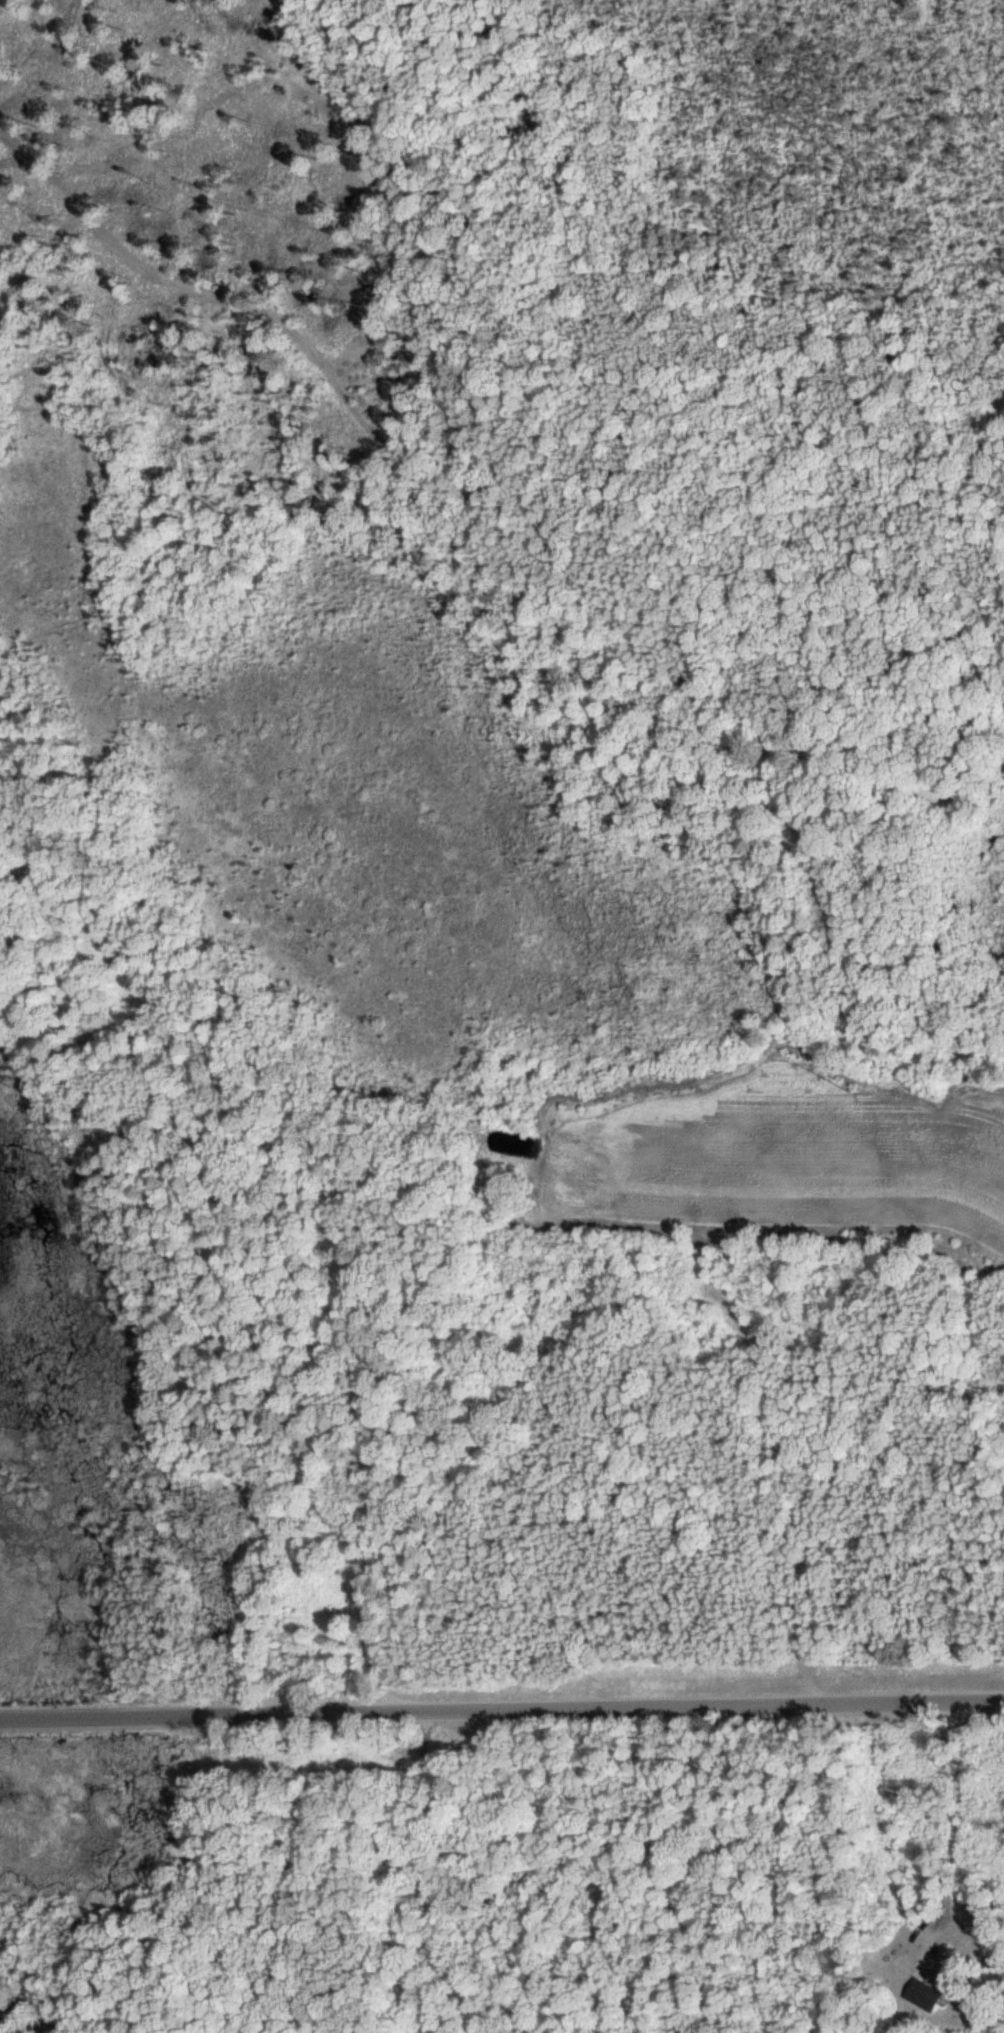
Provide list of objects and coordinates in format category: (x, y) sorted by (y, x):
road: (42, 253)
road: (473, 496)
road: (502, 1711)
road: (415, 1878)
building: (920, 1994)

